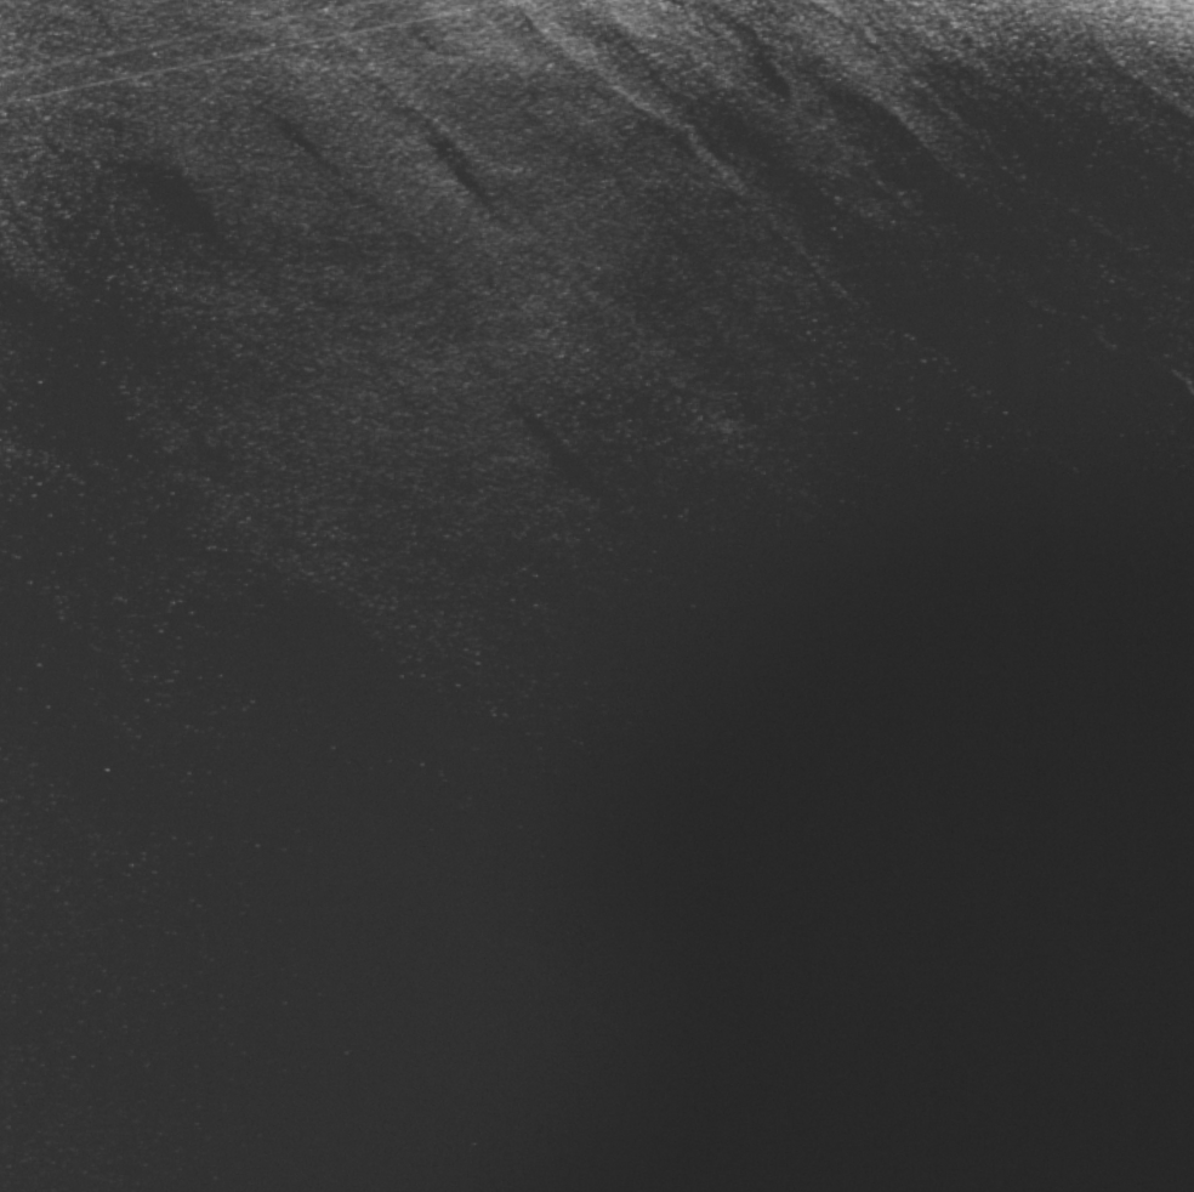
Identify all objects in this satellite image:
river: (672, 604)

